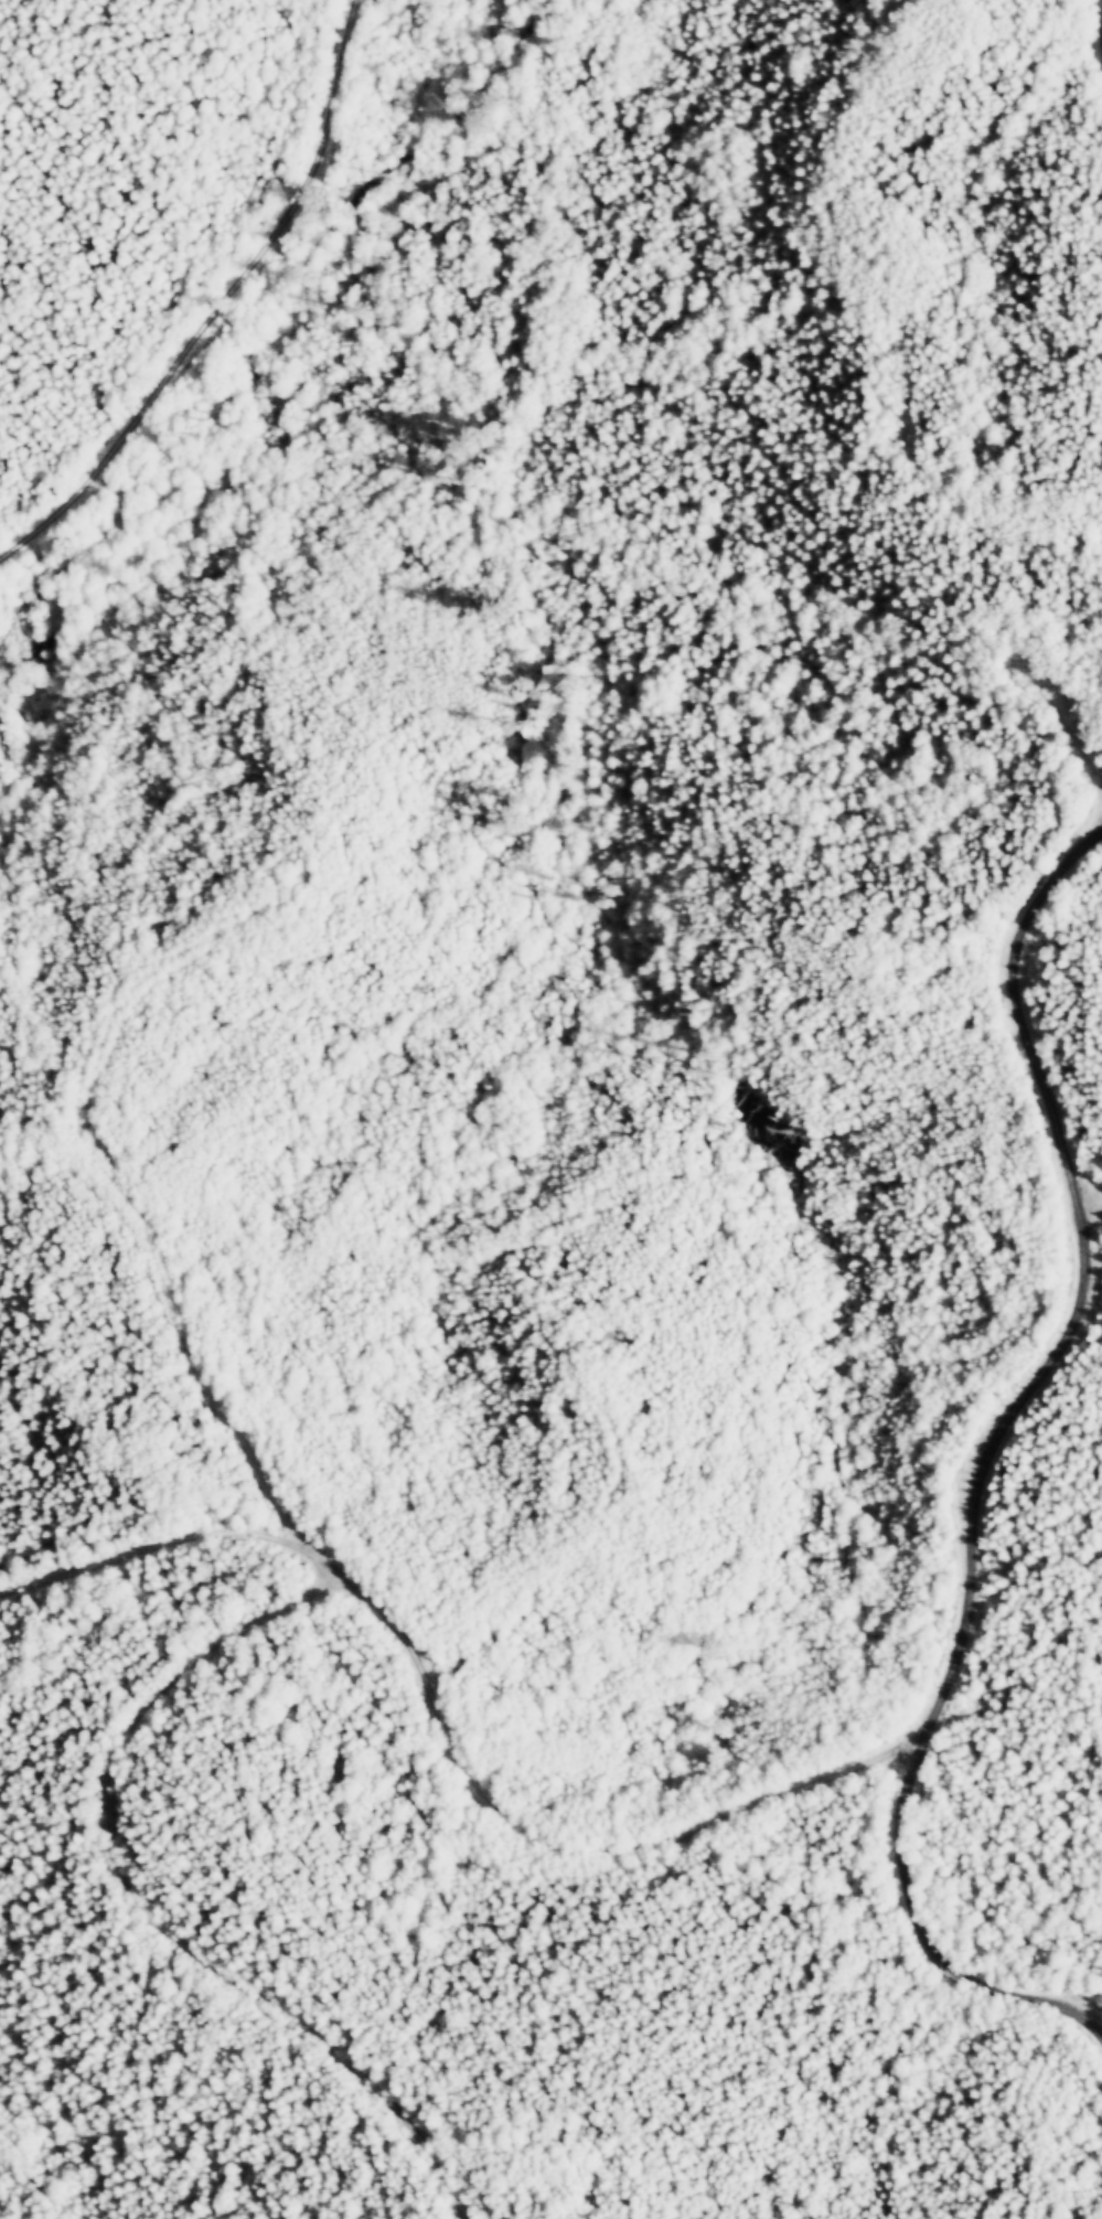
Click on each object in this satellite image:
road: (203, 263)
road: (992, 1453)

